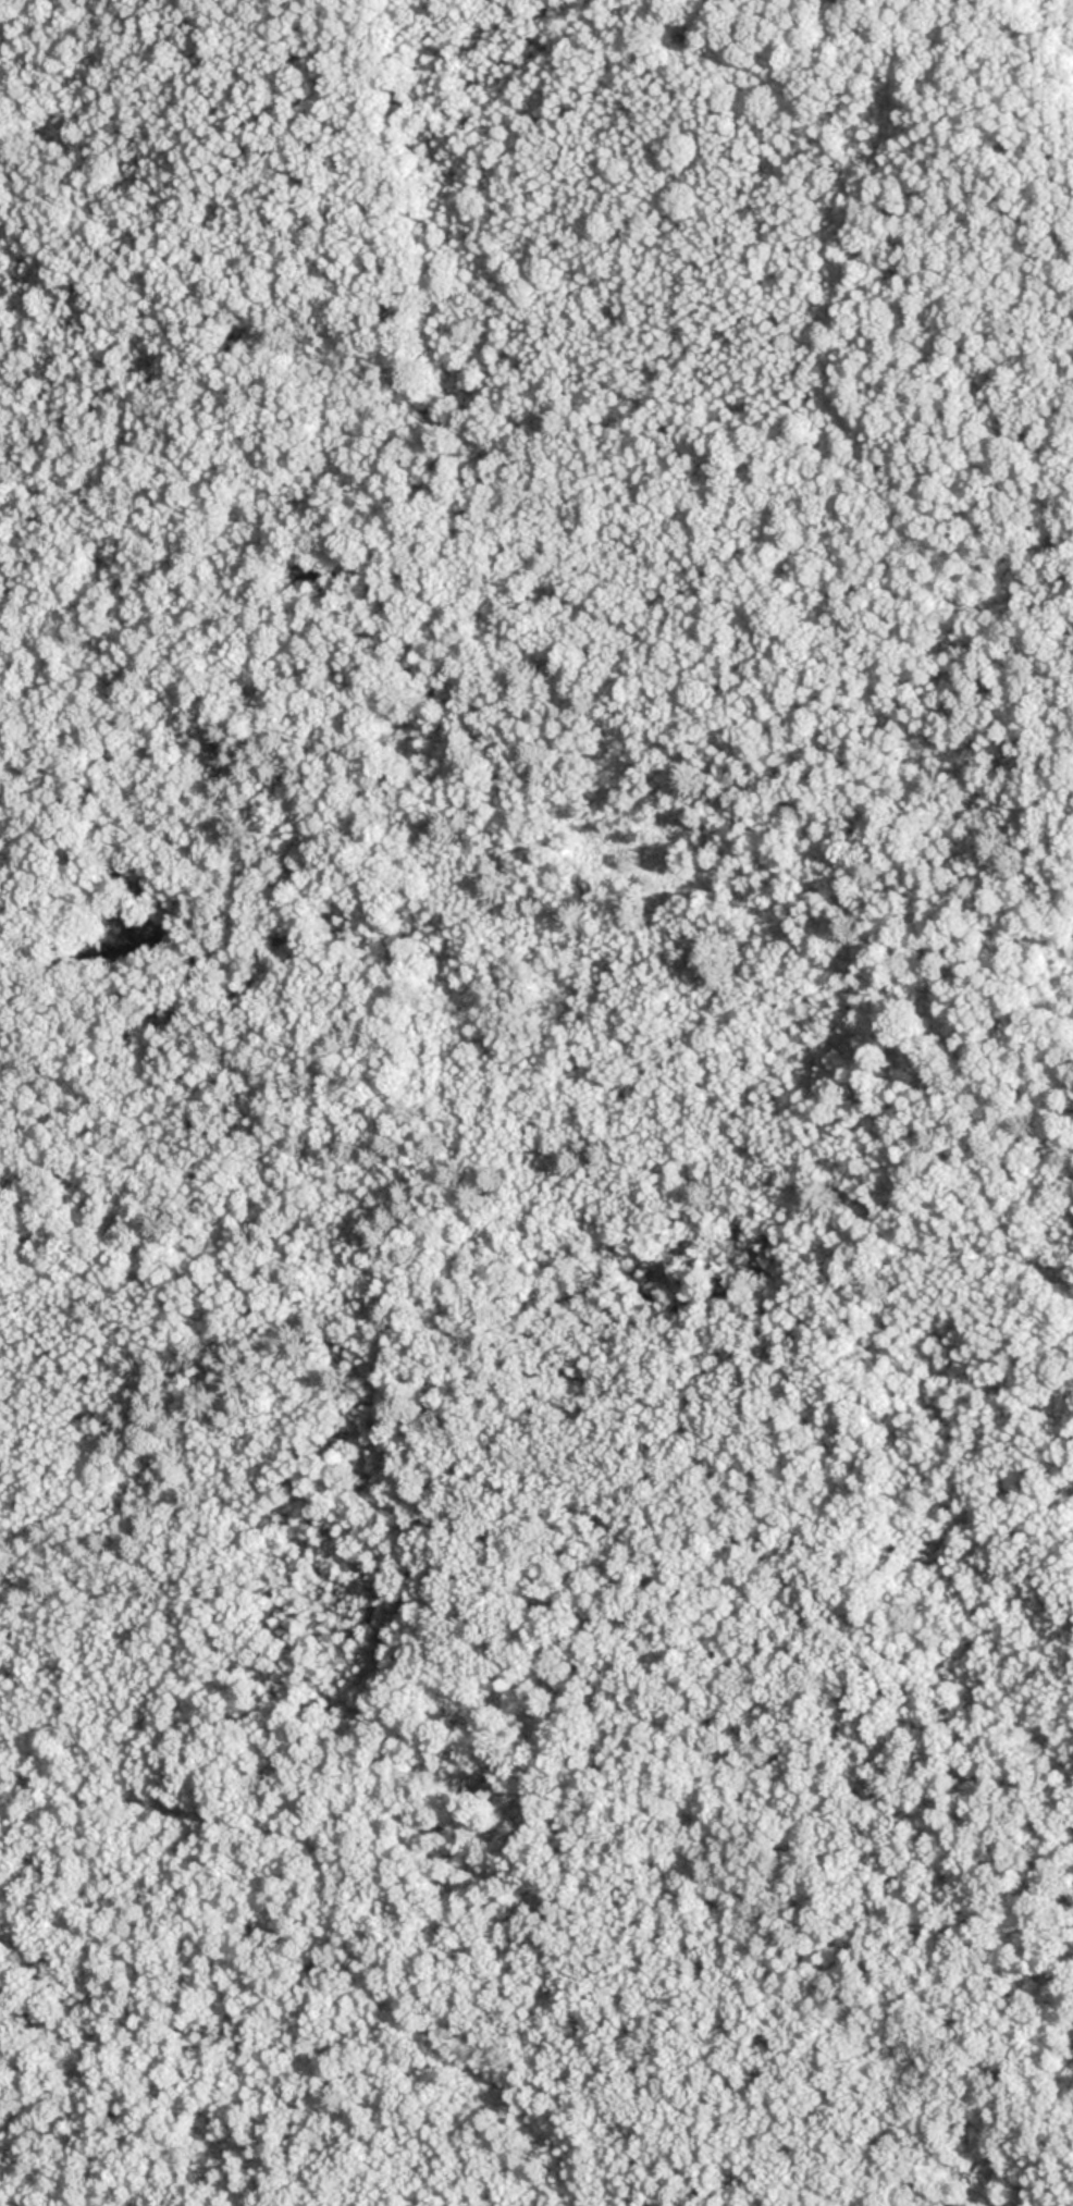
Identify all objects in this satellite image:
park: (536, 1102)

